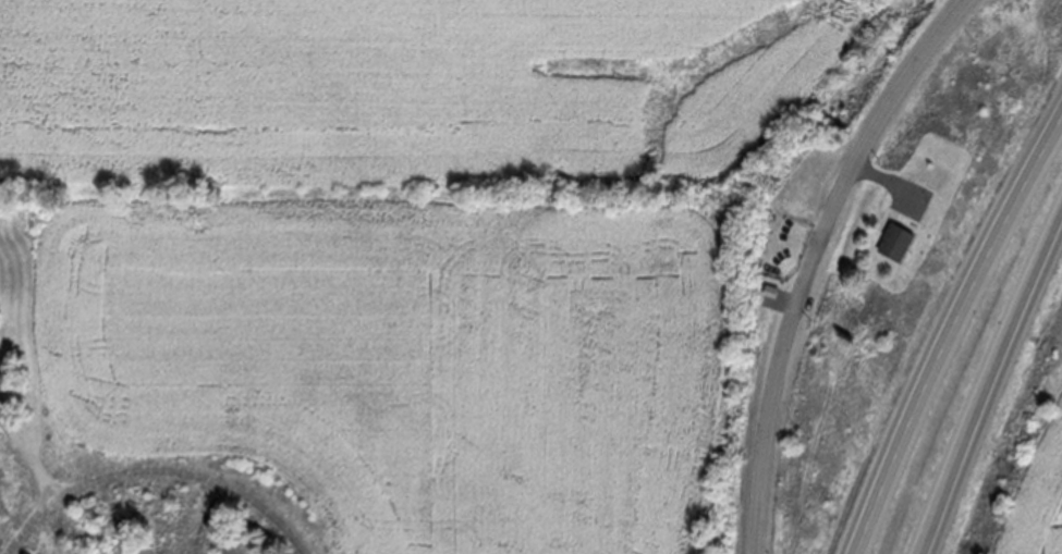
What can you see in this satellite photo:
road: (891, 181)
building: (895, 242)
road: (815, 260)
road: (948, 331)
road: (985, 379)

